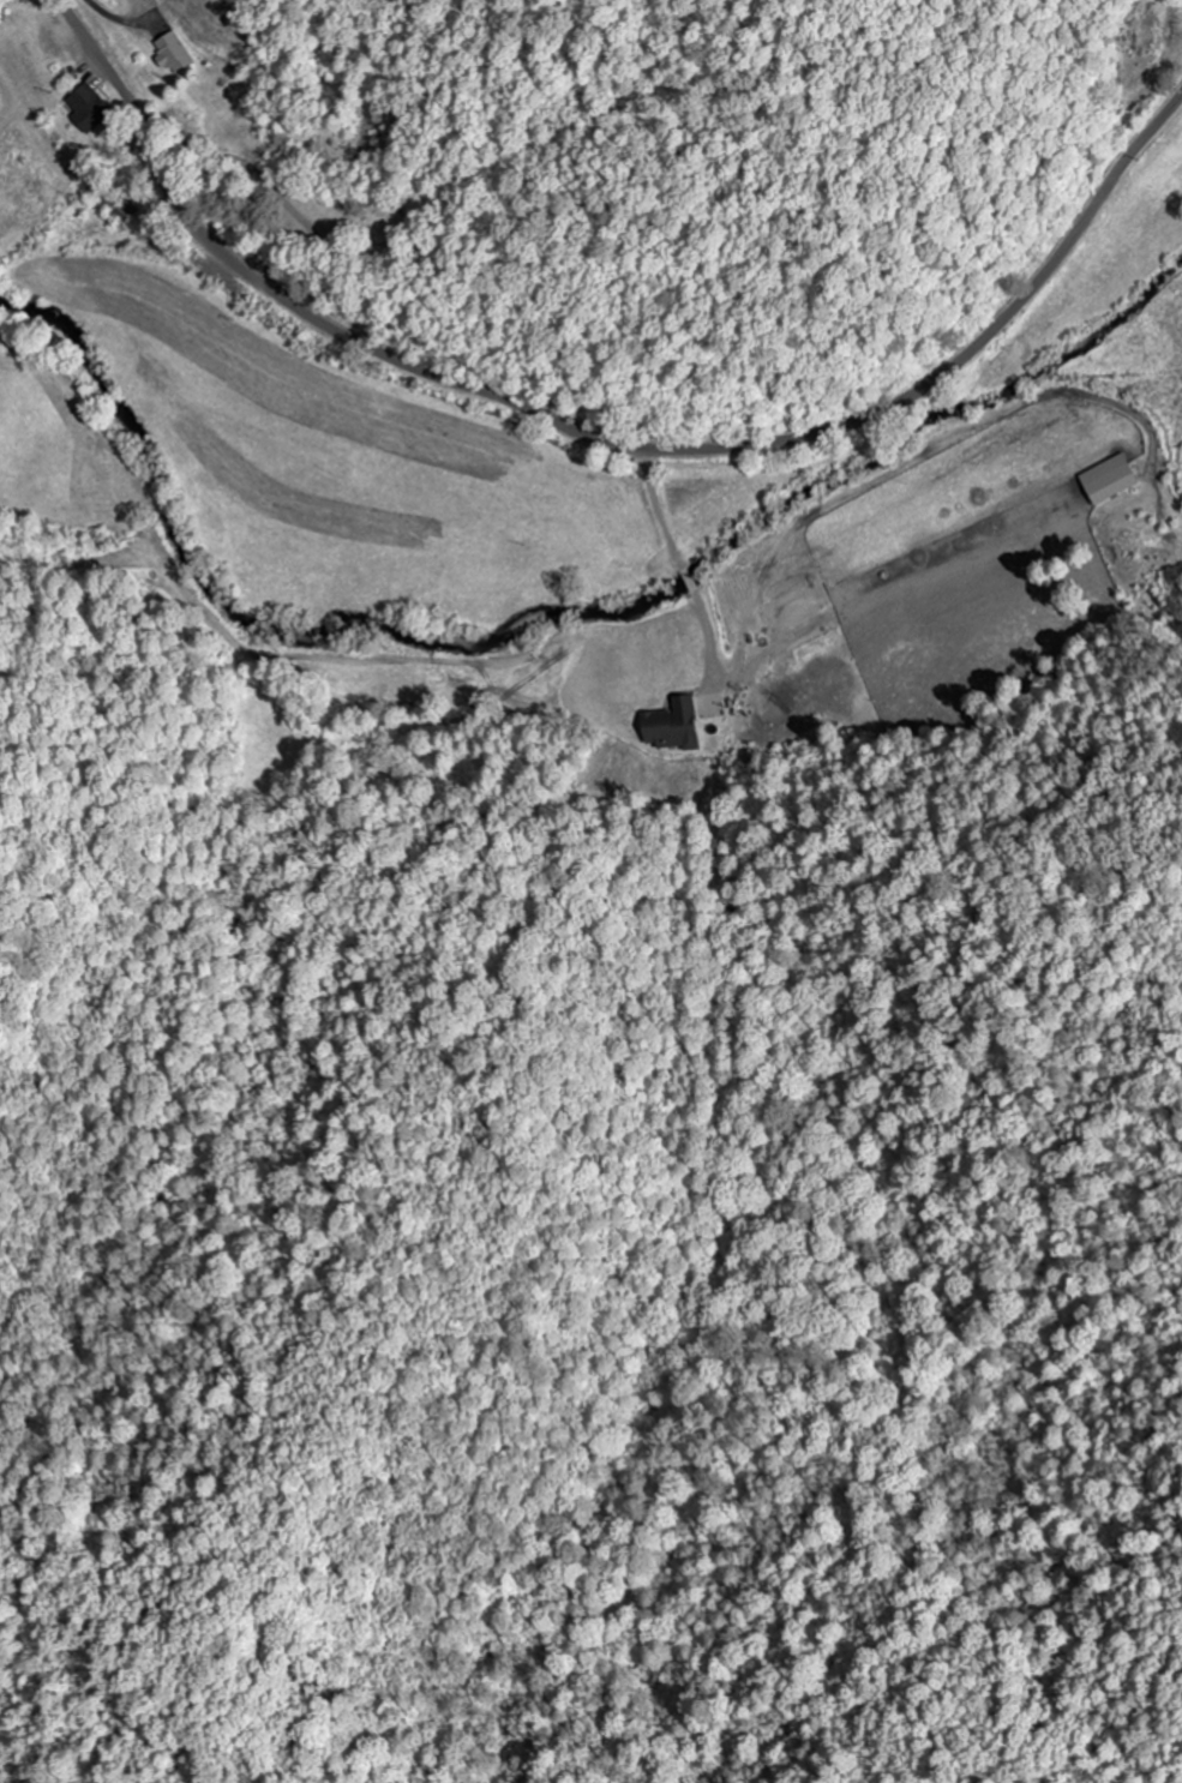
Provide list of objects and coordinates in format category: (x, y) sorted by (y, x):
building: (173, 54)
building: (89, 109)
road: (280, 192)
road: (602, 439)
building: (1106, 480)
building: (670, 726)

